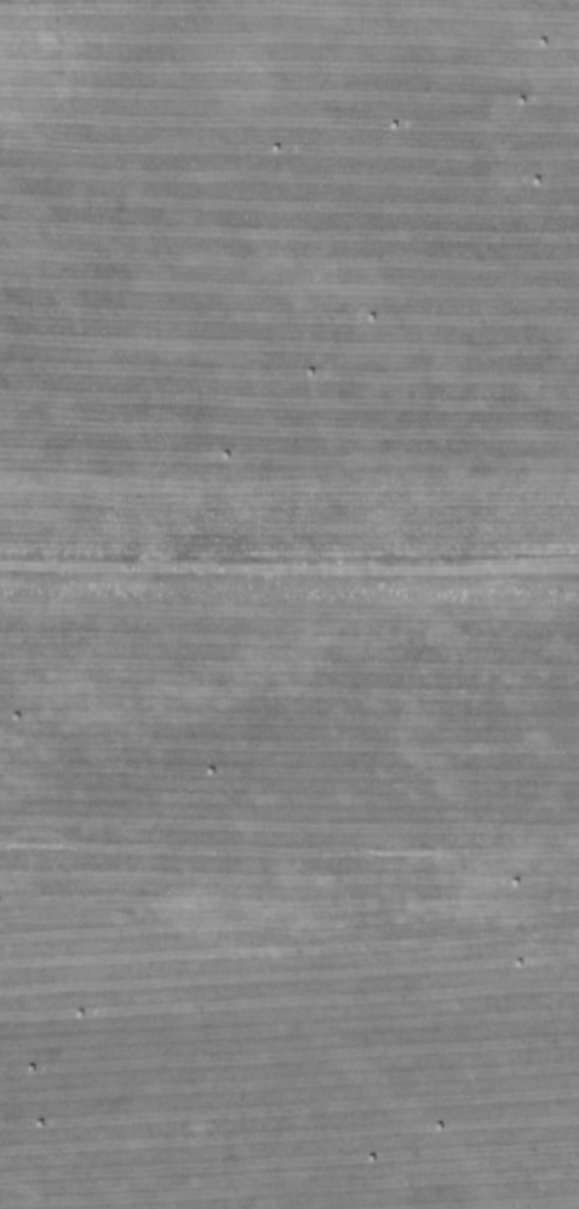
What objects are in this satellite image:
road: (289, 566)

